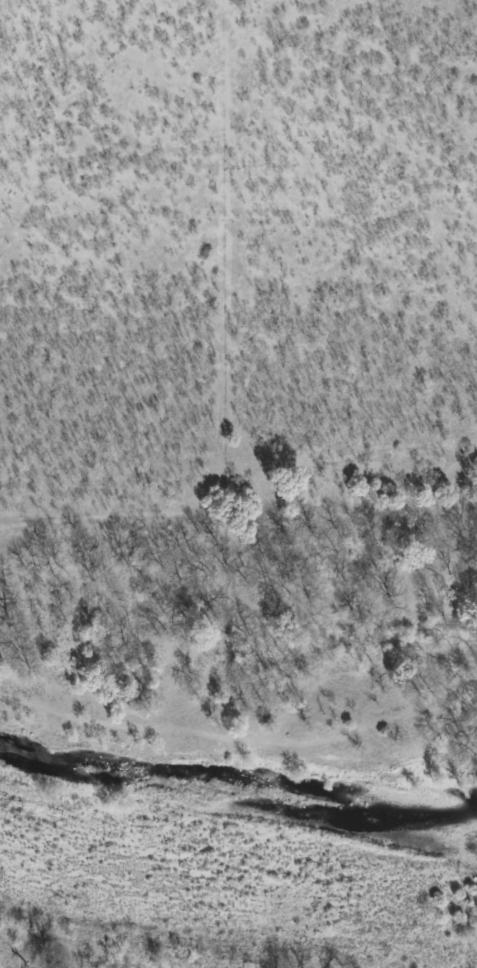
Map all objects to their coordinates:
river: (238, 798)

